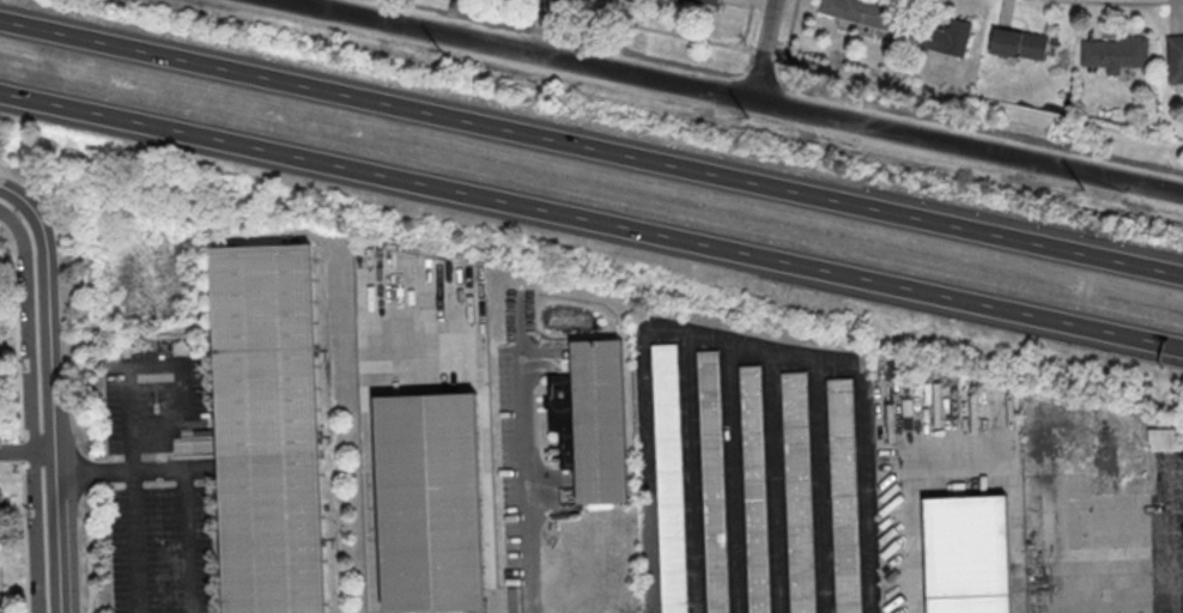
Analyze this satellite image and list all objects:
building: (708, 1)
building: (860, 11)
building: (948, 36)
power tower: (394, 41)
building: (1018, 43)
road: (760, 48)
building: (1115, 53)
building: (1175, 59)
road: (851, 71)
road: (740, 95)
power tower: (722, 113)
road: (590, 146)
power tower: (1044, 181)
road: (22, 200)
road: (591, 219)
road: (729, 340)
parking lot: (150, 395)
road: (29, 409)
road: (49, 417)
road: (18, 418)
building: (595, 423)
road: (129, 424)
road: (369, 427)
building: (273, 429)
building: (1164, 438)
road: (25, 451)
road: (10, 478)
building: (669, 478)
road: (1018, 478)
building: (714, 480)
road: (526, 484)
building: (756, 488)
building: (799, 492)
building: (843, 496)
building: (436, 500)
road: (132, 503)
building: (0, 512)
road: (184, 518)
parking lot: (158, 548)
building: (972, 554)
building: (0, 603)

